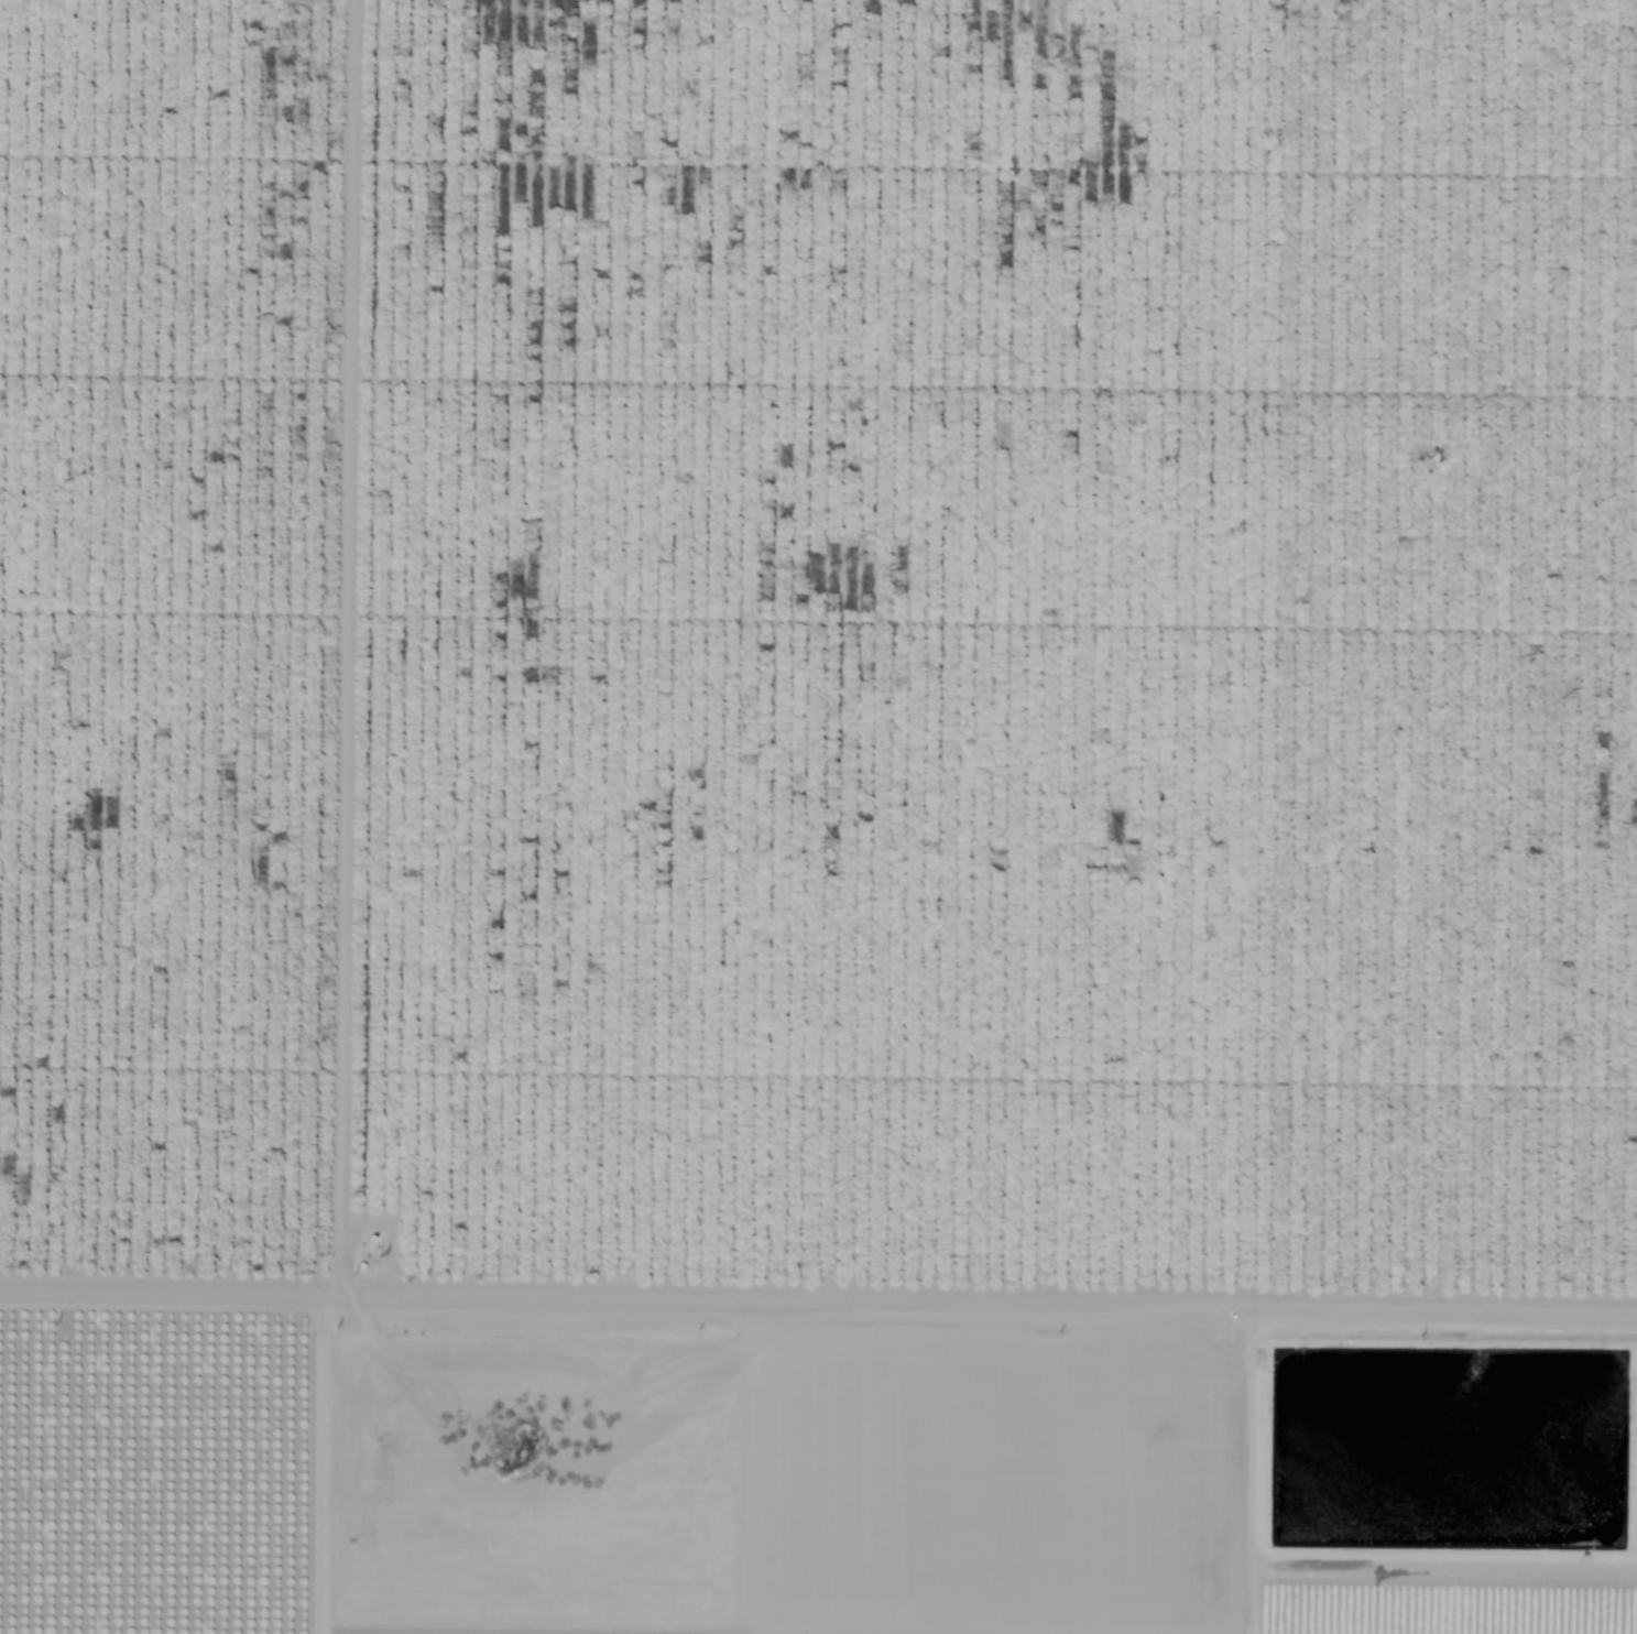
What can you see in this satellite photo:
road: (818, 1283)
crop: (870, 1445)
crop: (1478, 1445)

